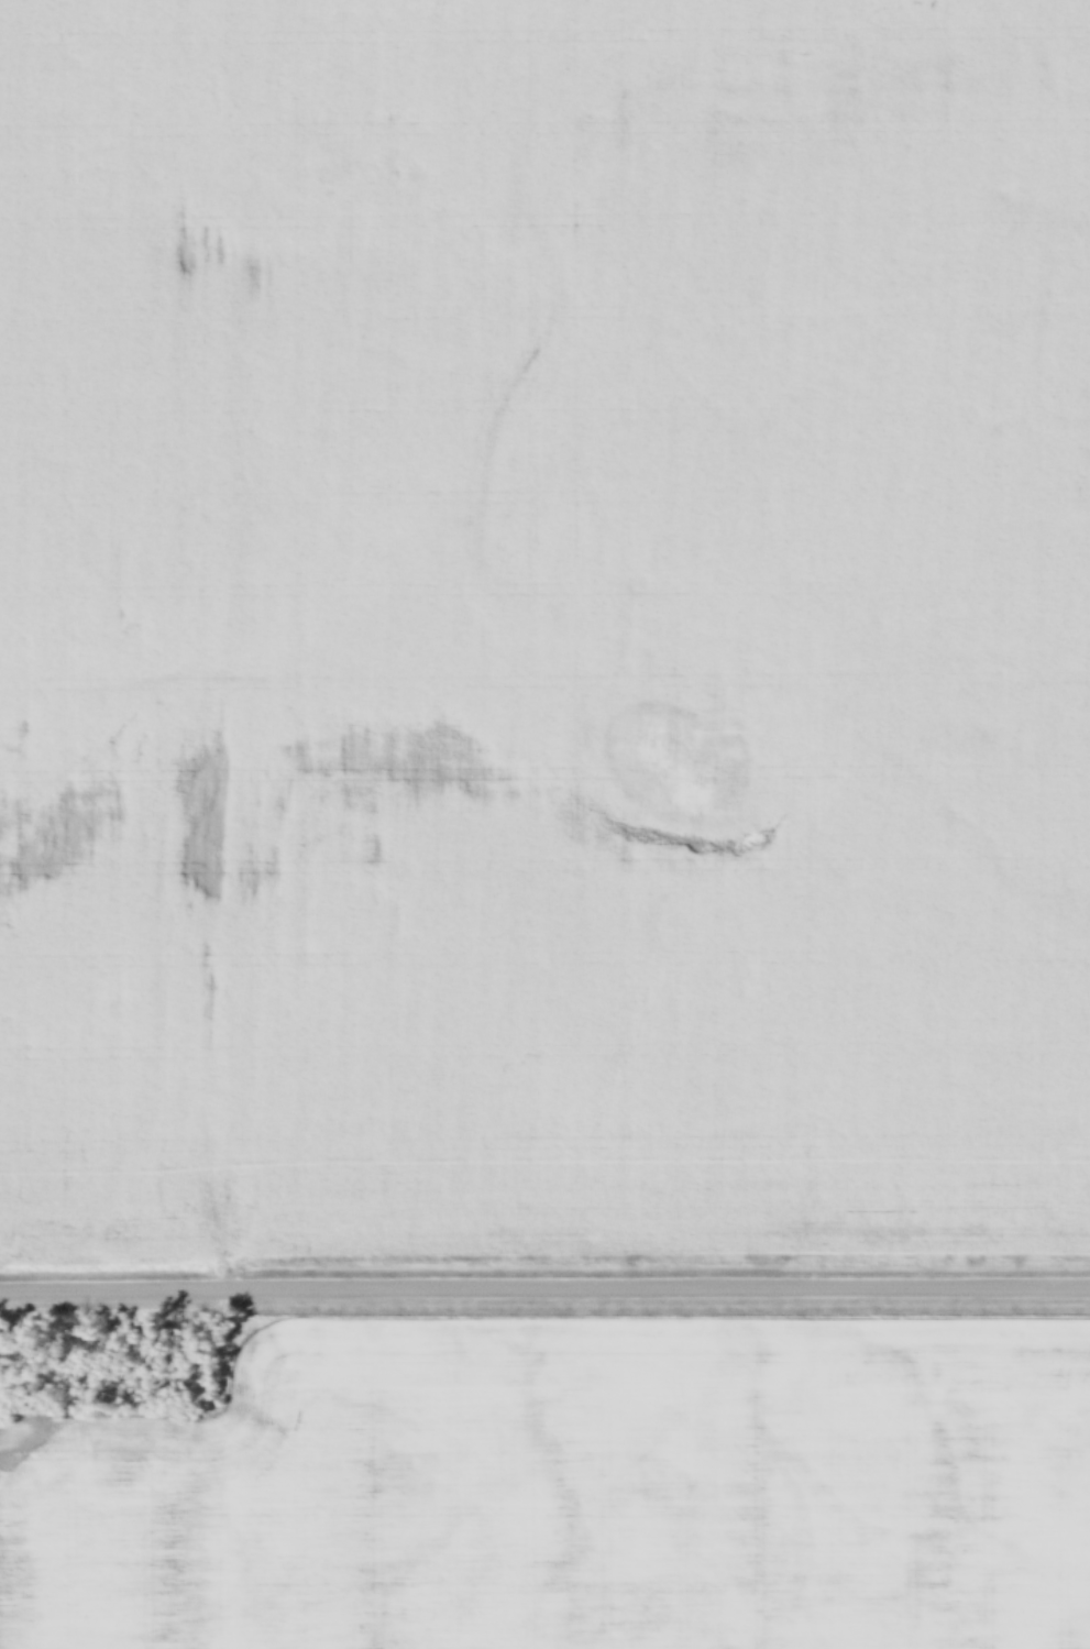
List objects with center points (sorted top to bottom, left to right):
road: (544, 1289)

